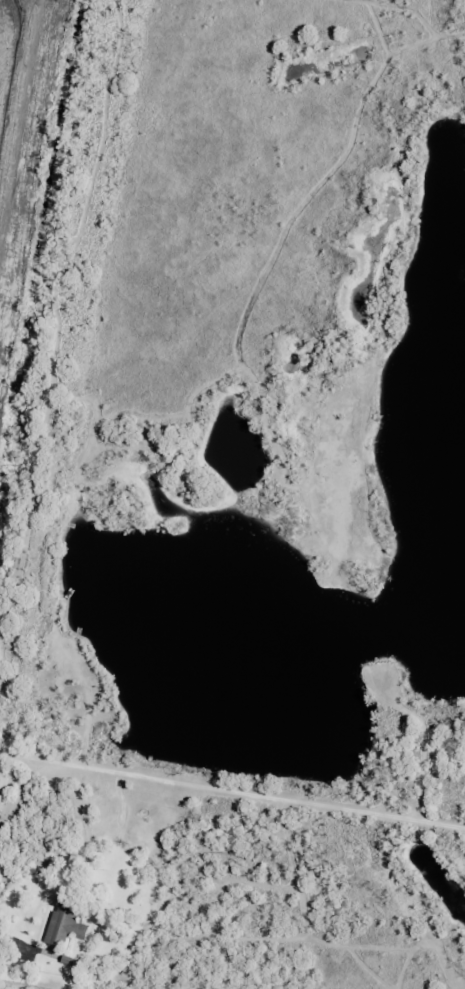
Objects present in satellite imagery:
building: (1, 787)
road: (232, 788)
building: (64, 923)
road: (20, 984)

